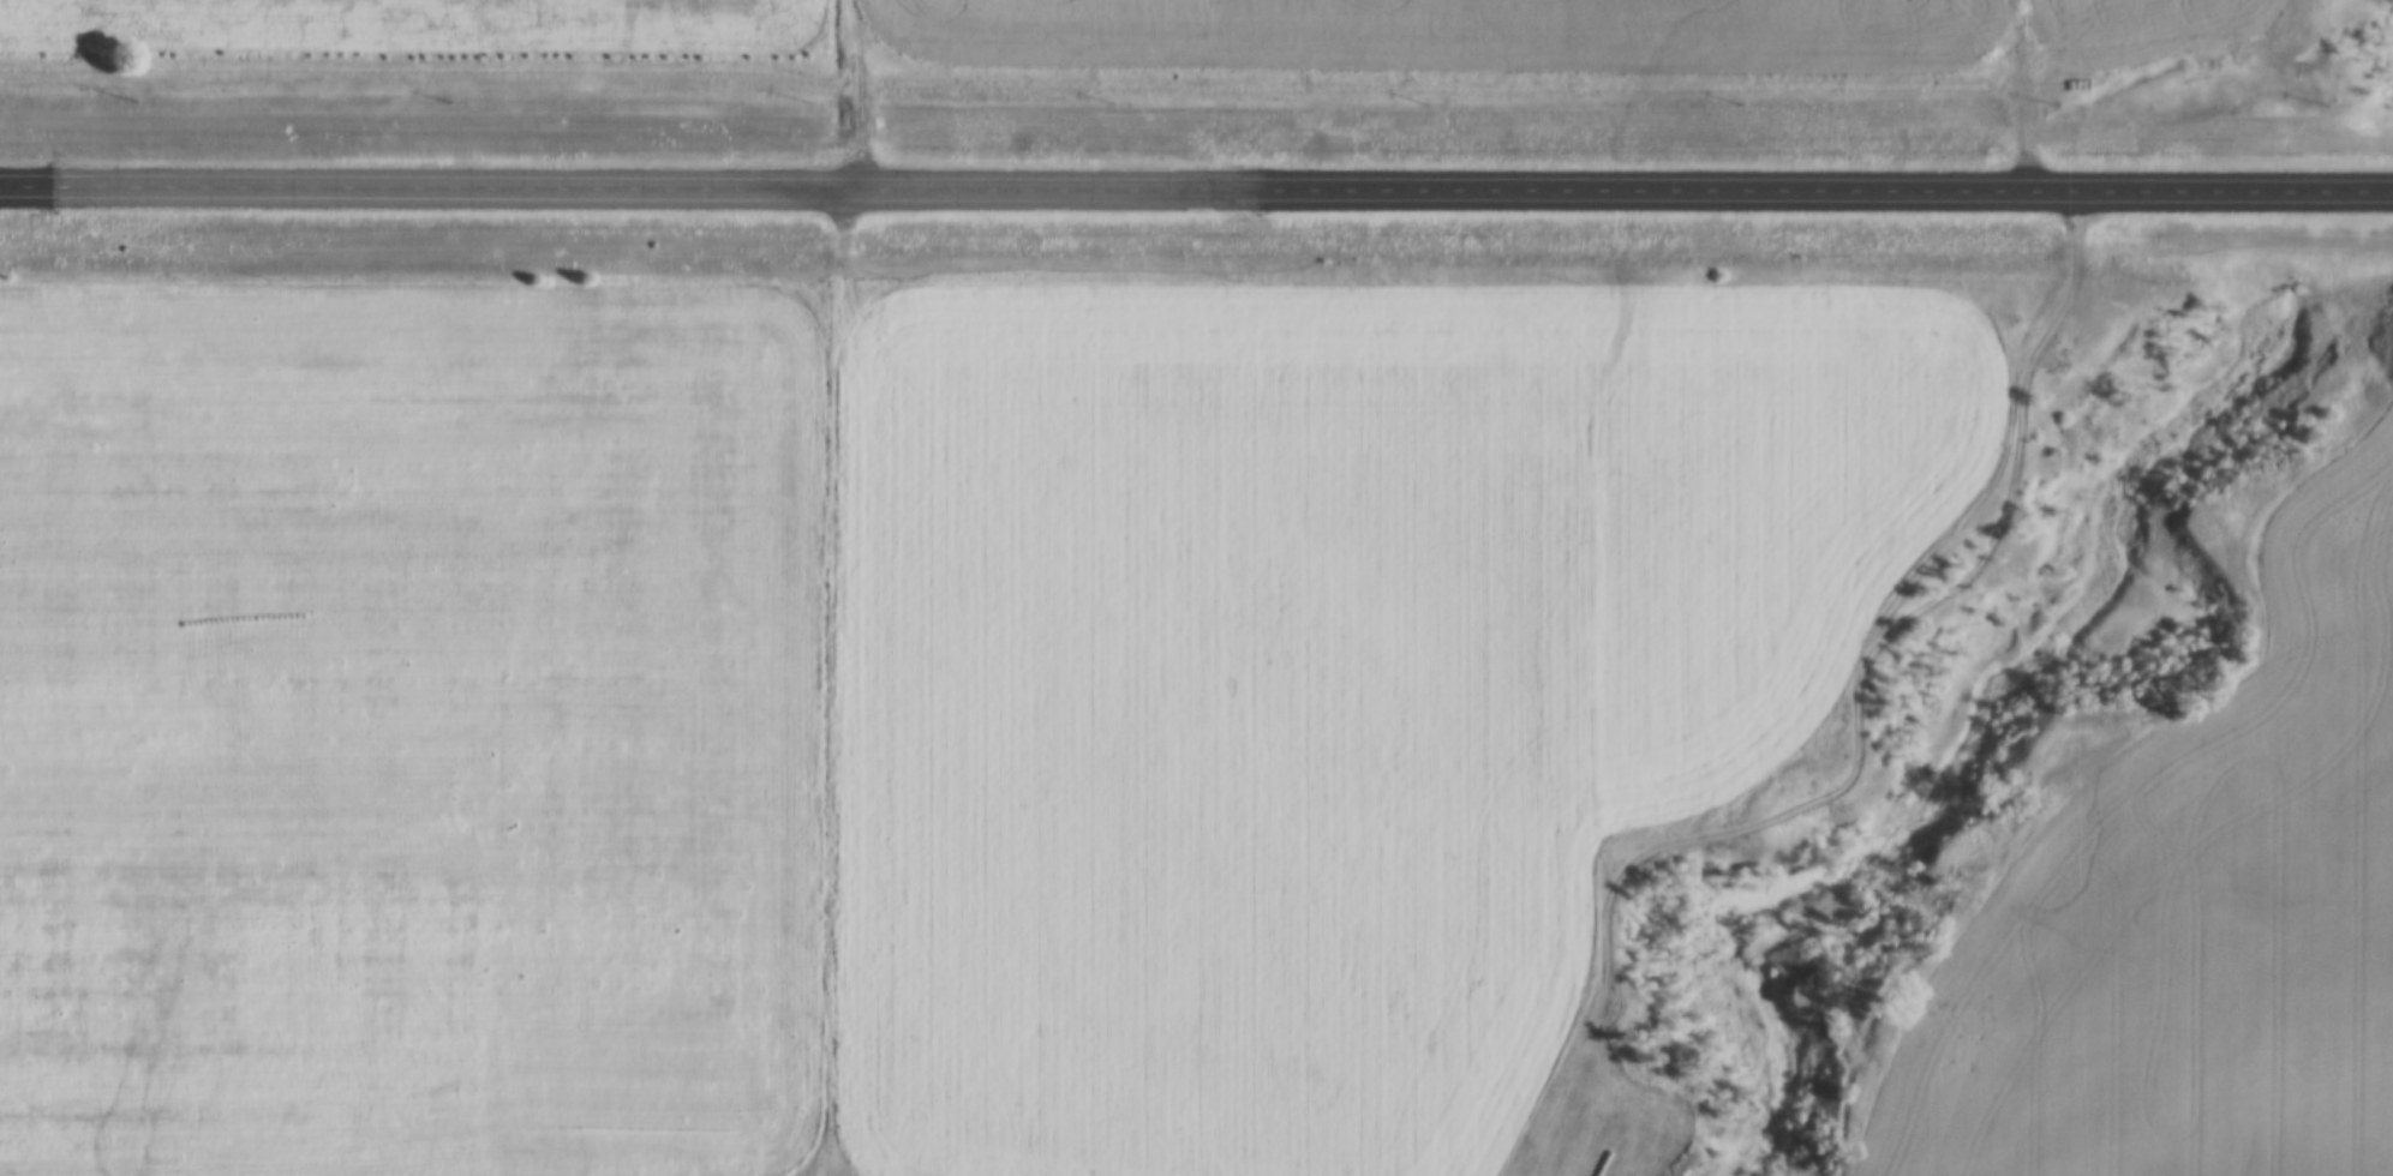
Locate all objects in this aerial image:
road: (1196, 184)
road: (1848, 733)

